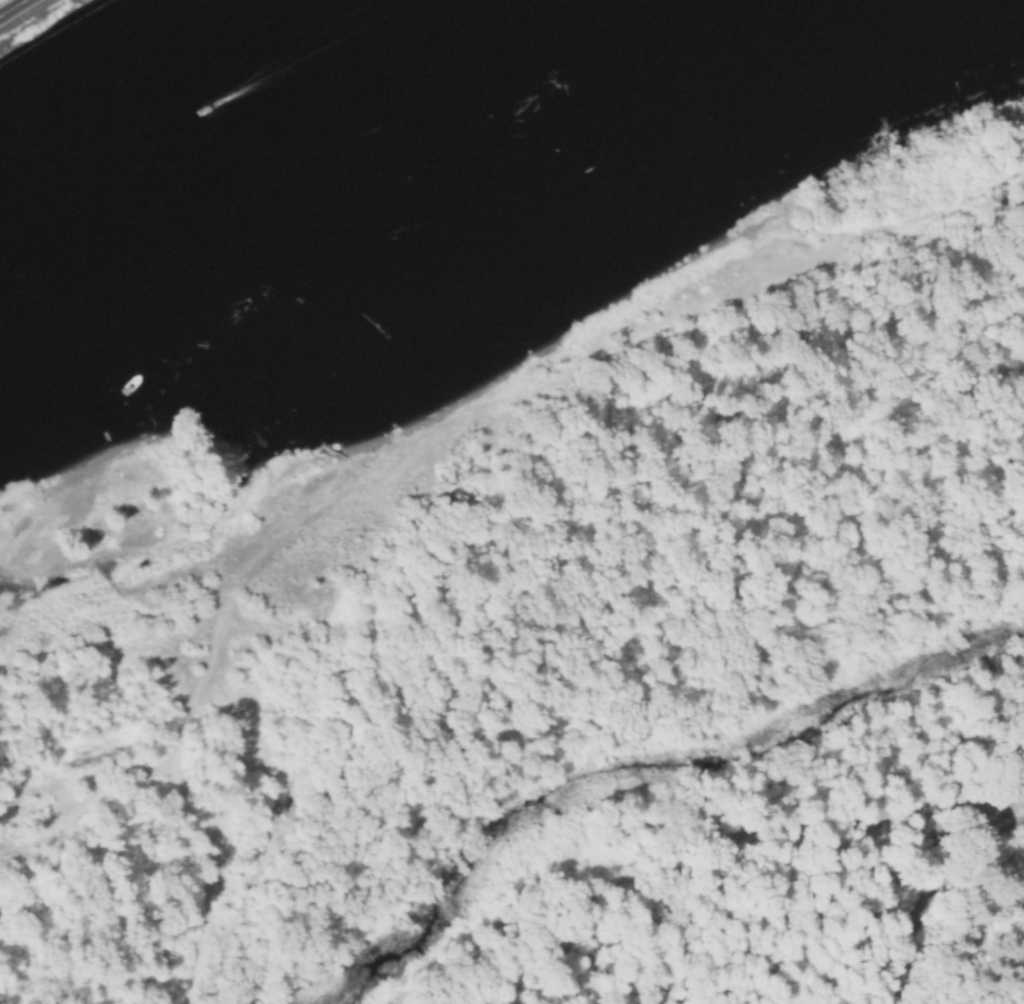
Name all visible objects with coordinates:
road: (12, 7)
river: (279, 117)
road: (928, 894)

